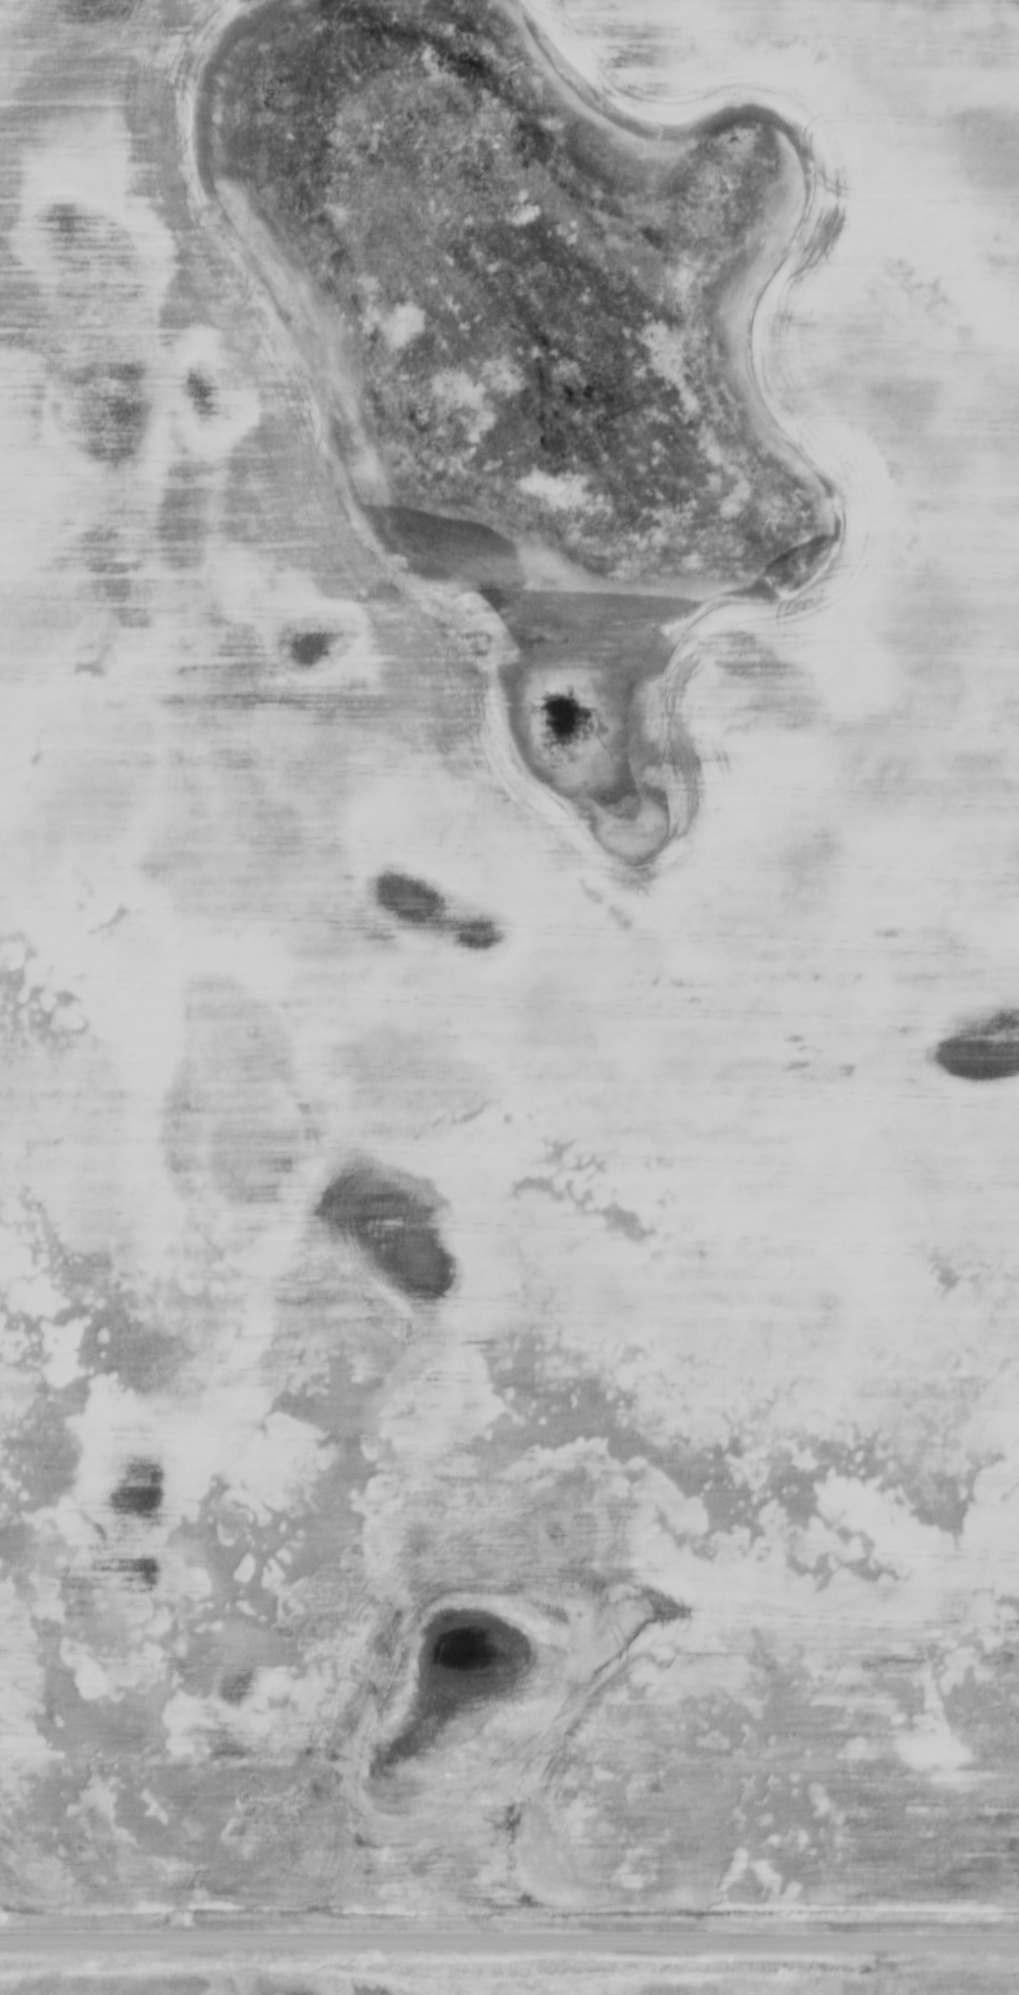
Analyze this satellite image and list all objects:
road: (509, 1937)

